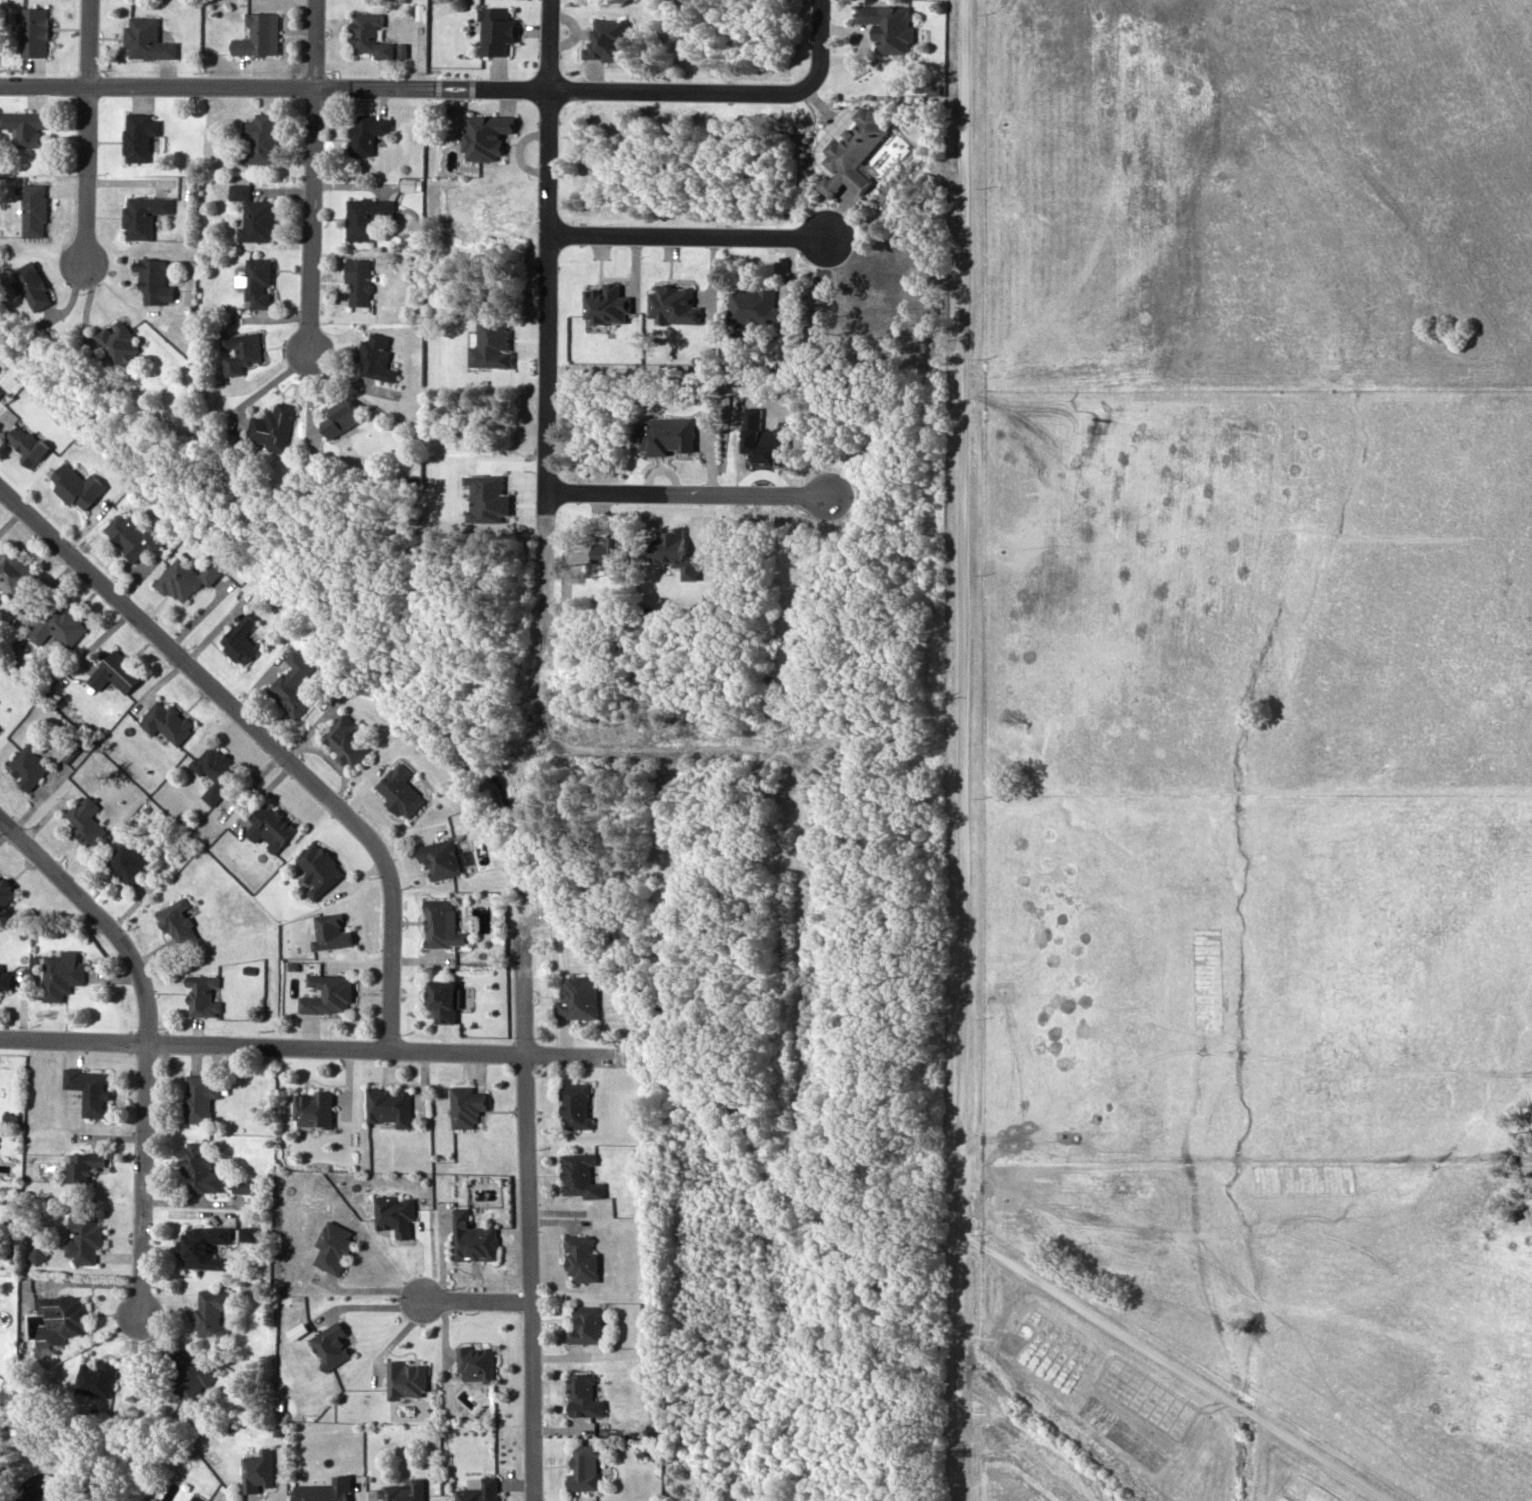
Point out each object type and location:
building: (887, 26)
building: (34, 30)
building: (258, 34)
building: (367, 34)
building: (146, 39)
road: (817, 41)
road: (87, 42)
road: (314, 42)
road: (405, 86)
building: (26, 126)
building: (366, 132)
building: (139, 135)
building: (259, 138)
building: (851, 150)
road: (84, 174)
building: (34, 209)
building: (253, 213)
building: (143, 214)
building: (365, 216)
road: (311, 218)
road: (686, 233)
road: (545, 262)
building: (153, 280)
building: (358, 280)
building: (257, 281)
building: (32, 286)
building: (750, 304)
building: (119, 341)
building: (240, 350)
building: (376, 356)
building: (0, 390)
building: (271, 427)
building: (24, 442)
building: (75, 485)
road: (686, 494)
building: (130, 535)
building: (542, 549)
building: (13, 573)
building: (184, 578)
building: (58, 624)
building: (238, 639)
building: (113, 672)
building: (291, 691)
building: (165, 720)
road: (263, 737)
building: (344, 740)
road: (963, 750)
building: (27, 765)
building: (214, 770)
building: (399, 789)
building: (84, 821)
building: (269, 825)
building: (439, 857)
building: (126, 862)
building: (318, 868)
building: (5, 892)
road: (98, 917)
building: (177, 921)
building: (441, 923)
building: (331, 930)
building: (61, 974)
building: (4, 979)
building: (327, 993)
building: (202, 995)
building: (577, 998)
building: (441, 999)
road: (305, 1046)
building: (90, 1090)
building: (198, 1097)
building: (387, 1105)
building: (466, 1105)
building: (574, 1105)
building: (311, 1109)
building: (82, 1166)
building: (200, 1168)
building: (578, 1178)
road: (142, 1180)
building: (393, 1214)
road: (525, 1217)
building: (84, 1238)
building: (471, 1238)
building: (202, 1246)
building: (332, 1246)
building: (38, 1253)
building: (580, 1258)
road: (471, 1299)
building: (210, 1312)
building: (60, 1320)
building: (583, 1324)
building: (329, 1344)
building: (474, 1363)
road: (1172, 1368)
building: (189, 1376)
building: (96, 1378)
building: (405, 1378)
building: (581, 1395)
building: (582, 1466)
building: (258, 1469)
building: (323, 1490)
building: (403, 1490)
building: (478, 1490)
building: (195, 1498)

